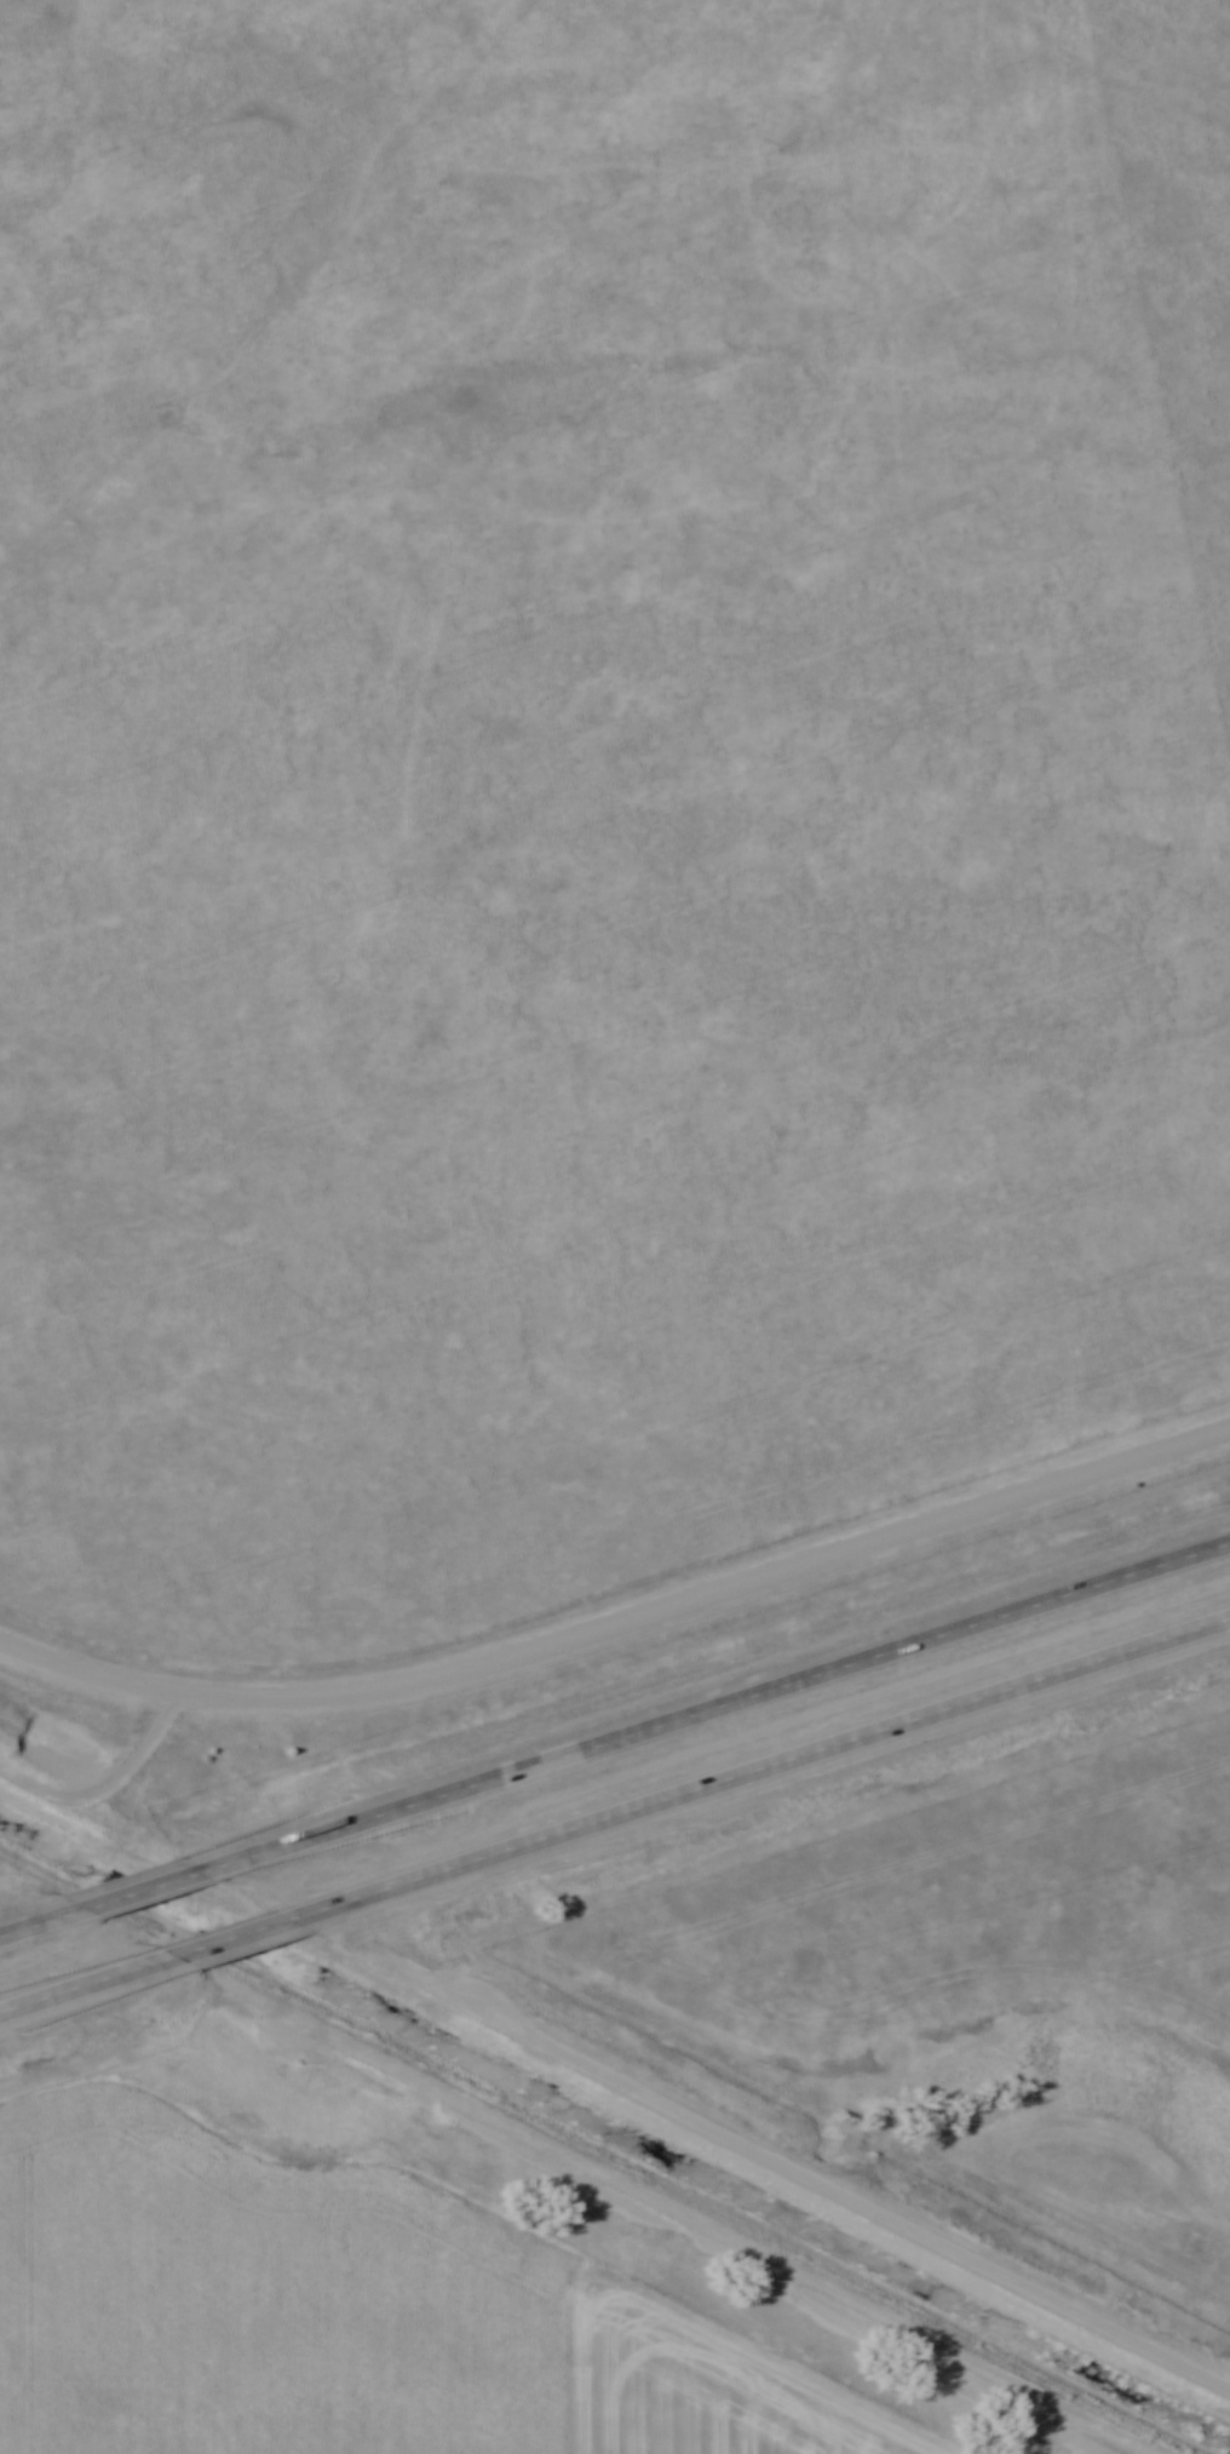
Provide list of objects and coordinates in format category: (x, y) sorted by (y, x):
road: (620, 1627)
road: (738, 1697)
road: (784, 1761)
road: (109, 1776)
road: (150, 1882)
road: (25, 1925)
road: (242, 1937)
road: (71, 1990)
road: (800, 2174)

